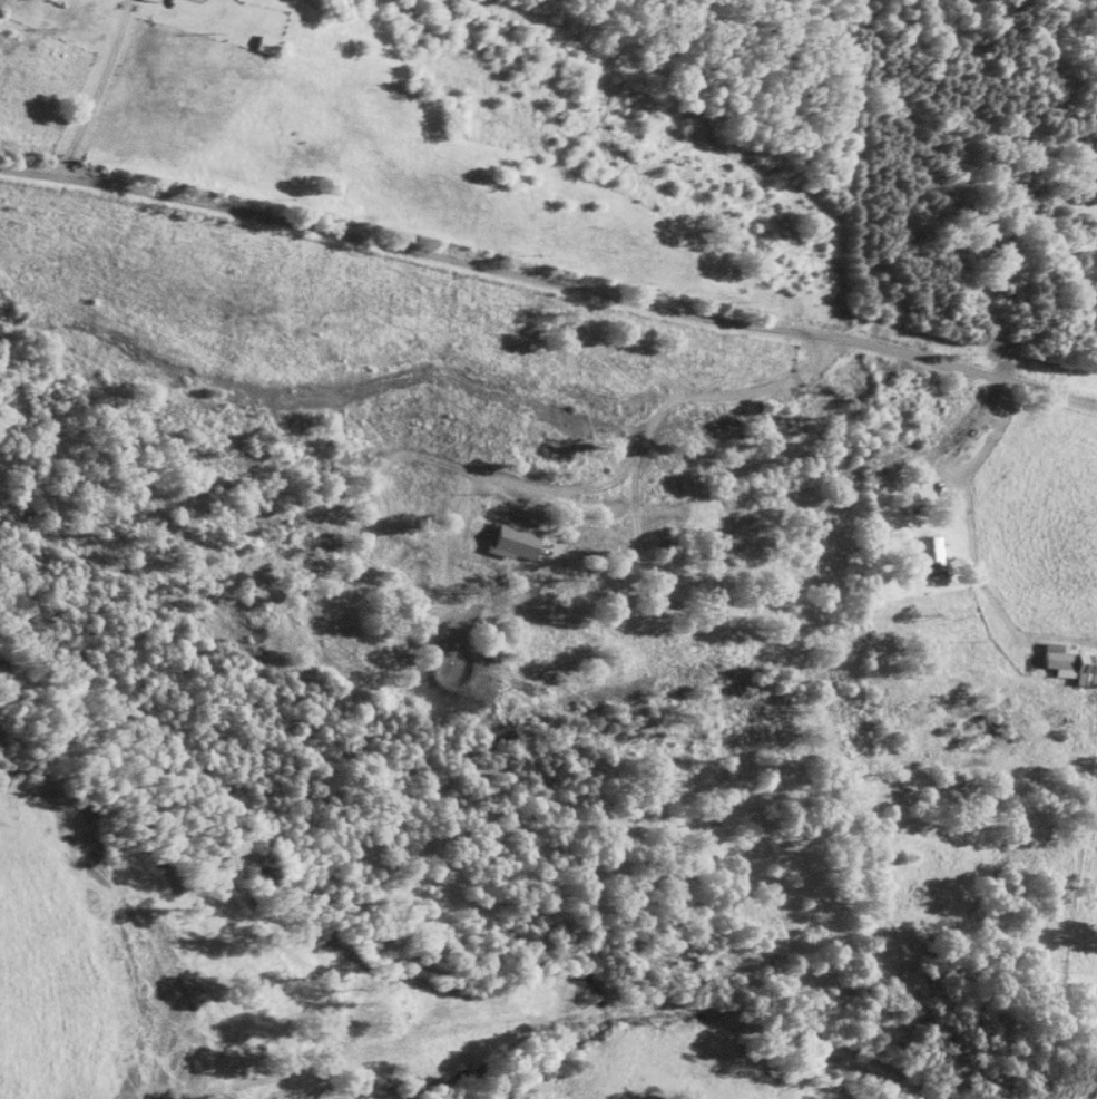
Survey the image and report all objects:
building: (150, 0)
building: (266, 45)
road: (91, 93)
road: (549, 286)
road: (990, 458)
building: (513, 542)
building: (932, 553)
building: (1074, 667)

